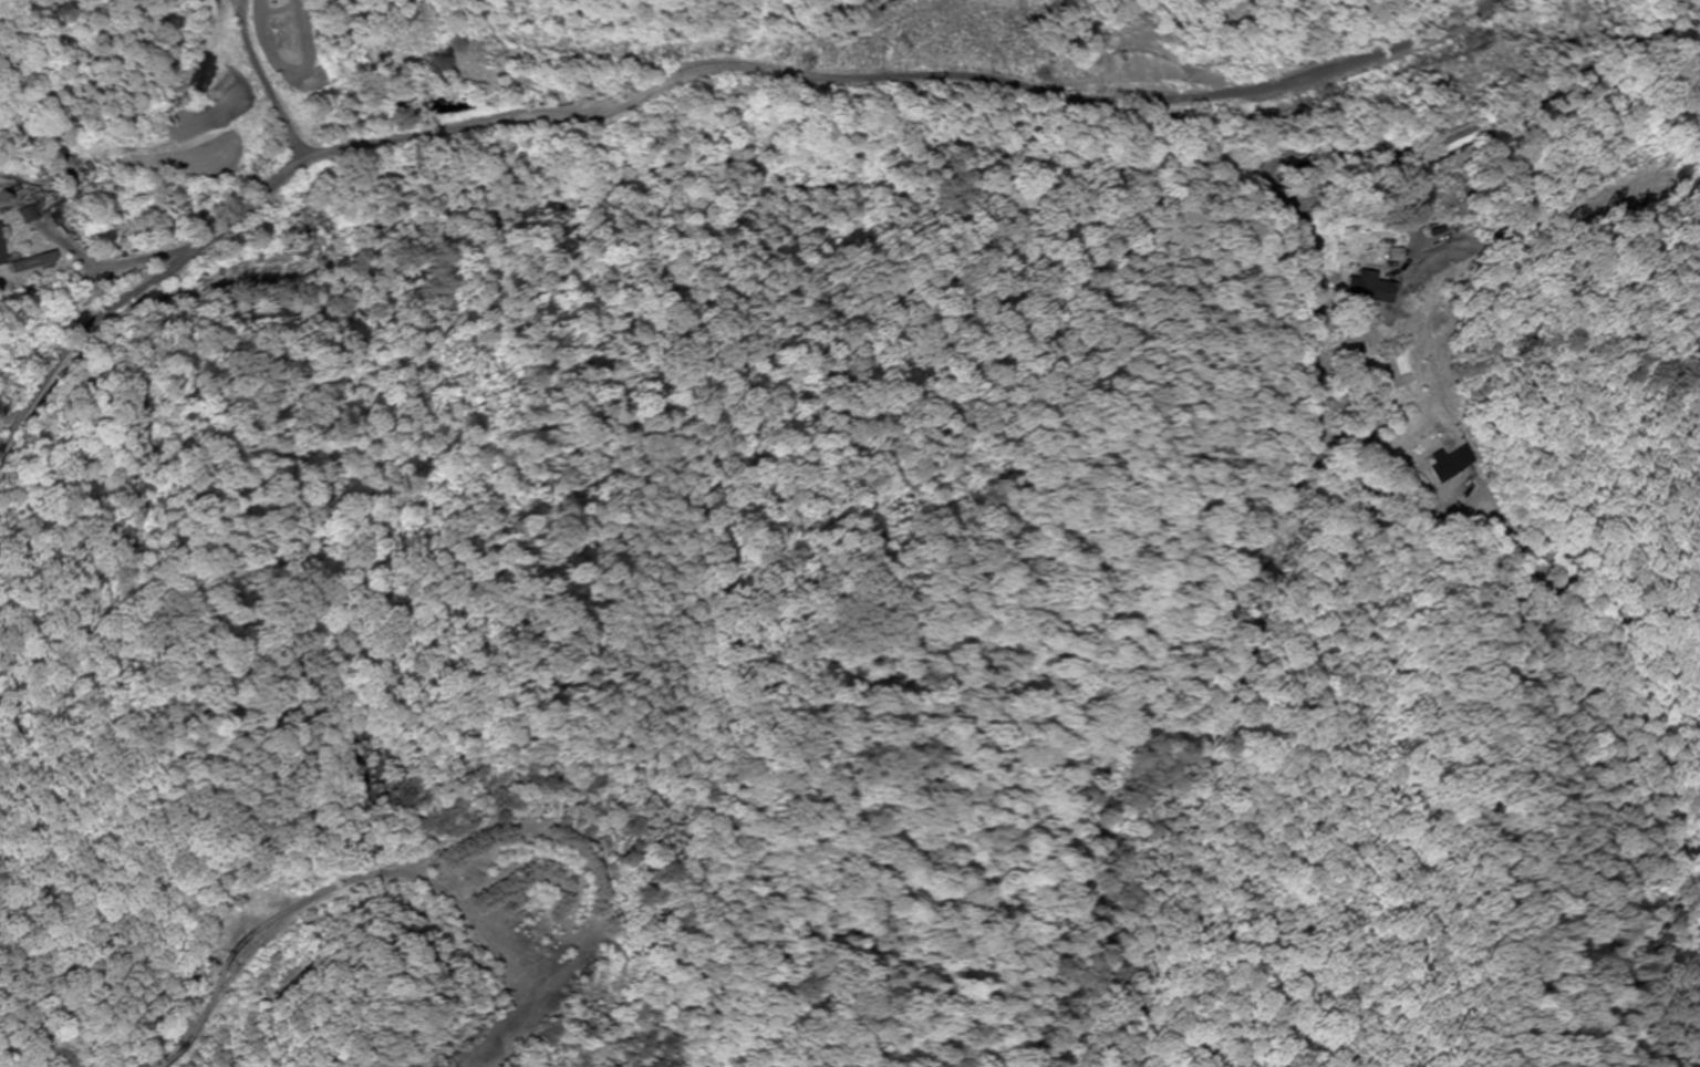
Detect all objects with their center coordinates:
building: (197, 77)
road: (262, 81)
road: (1169, 97)
road: (1648, 124)
road: (359, 144)
road: (1341, 151)
building: (28, 263)
building: (1367, 289)
building: (1444, 466)
road: (1190, 653)
road: (442, 833)

